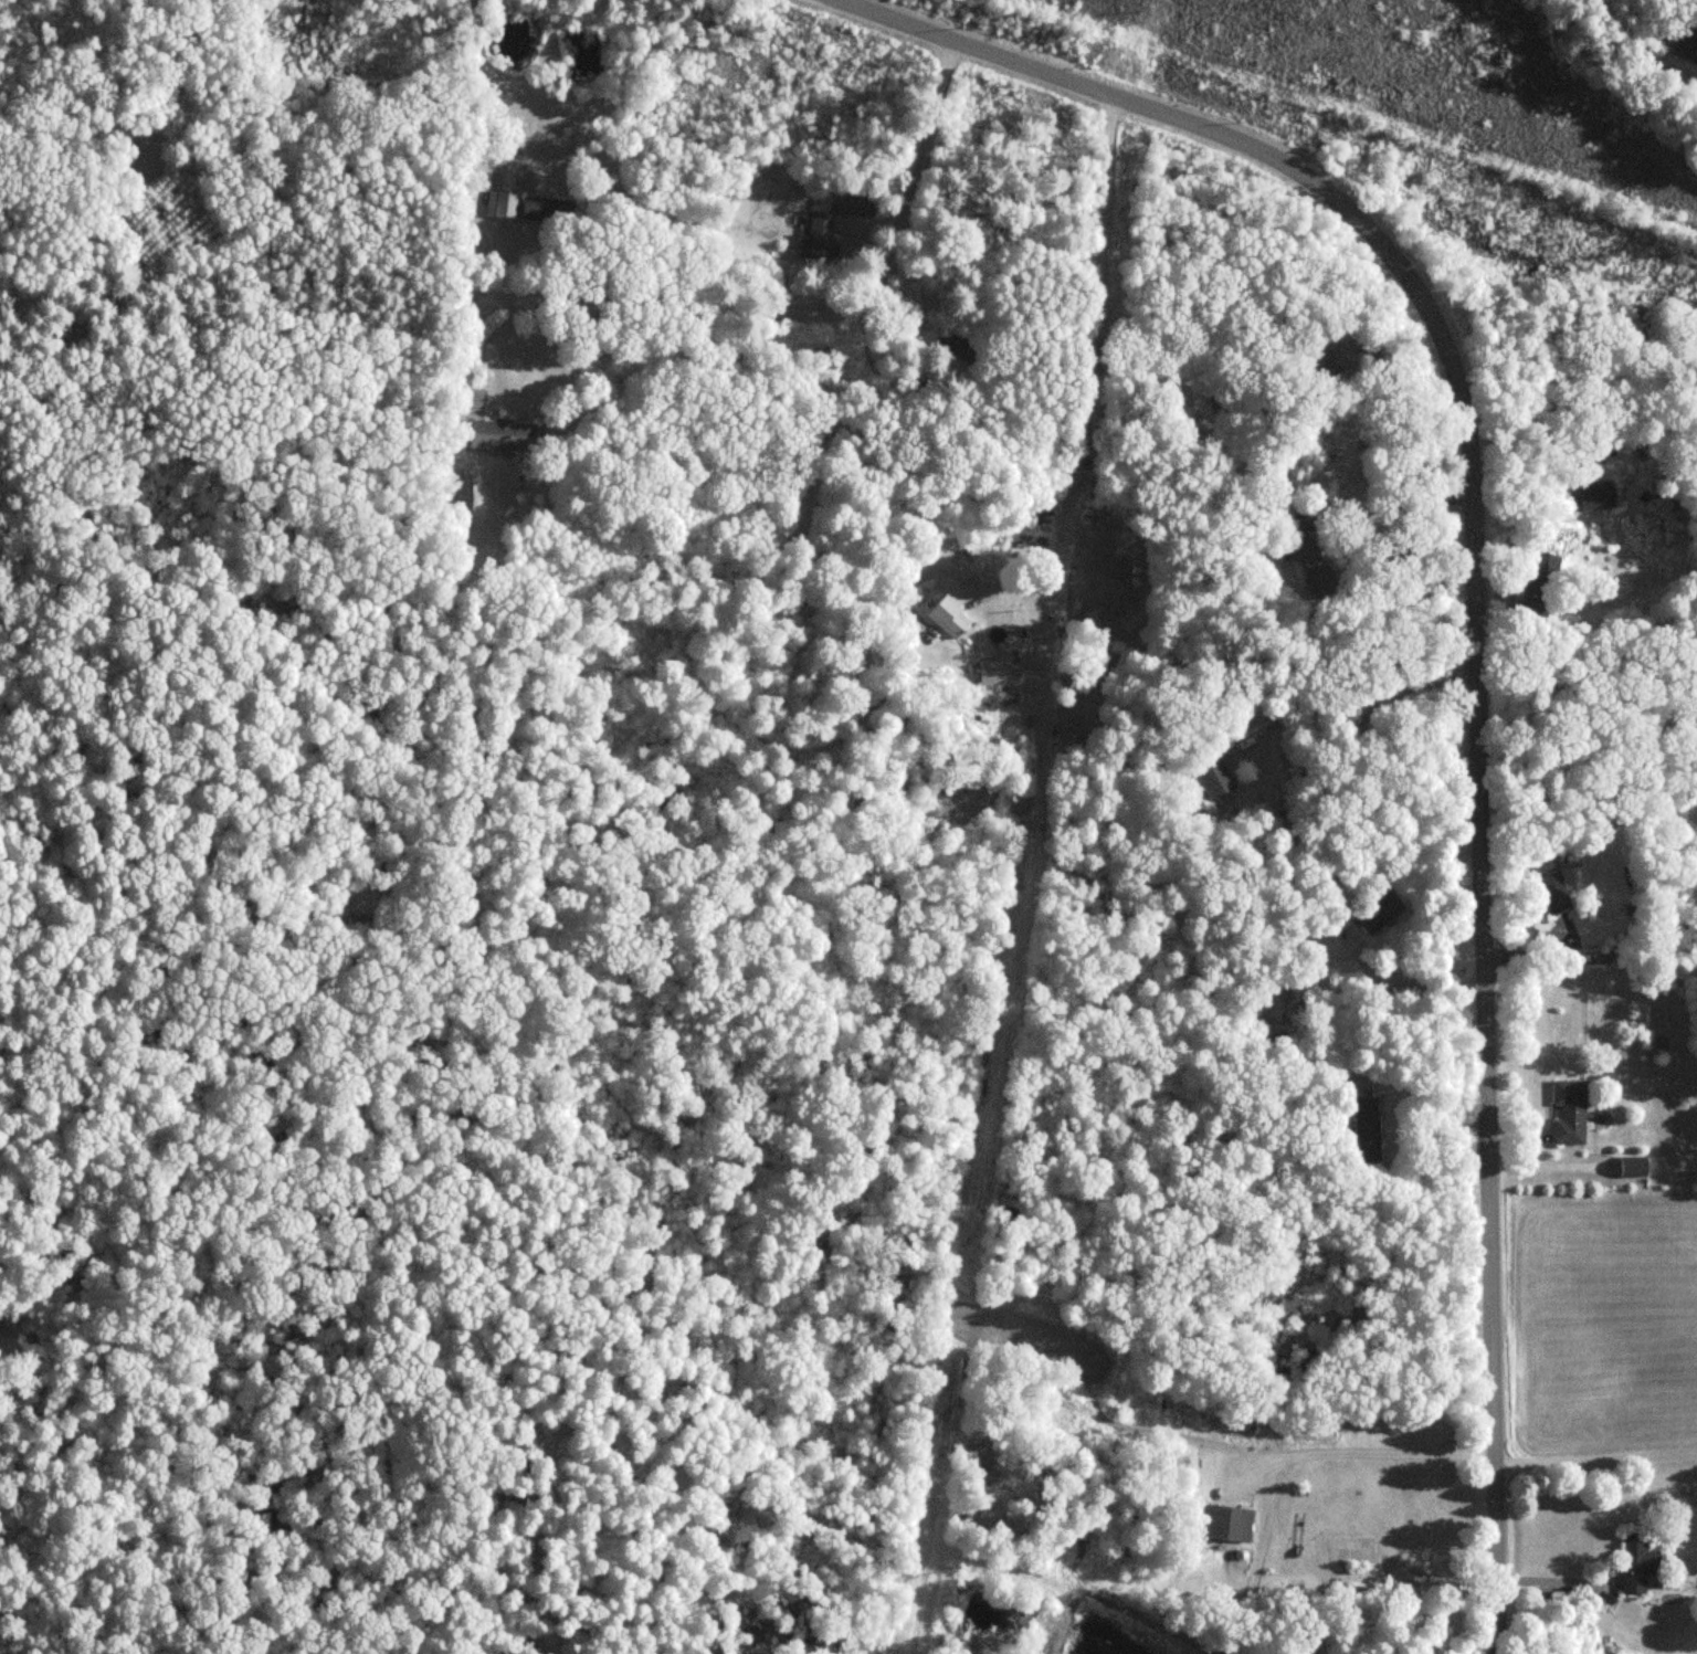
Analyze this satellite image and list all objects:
building: (1686, 44)
building: (503, 206)
building: (531, 209)
building: (832, 223)
building: (500, 434)
building: (1592, 497)
building: (1301, 561)
building: (1113, 592)
building: (949, 617)
road: (1471, 635)
building: (993, 672)
building: (1208, 782)
building: (1553, 892)
building: (1378, 913)
road: (1410, 988)
building: (1568, 1113)
building: (1360, 1120)
building: (1634, 1169)
road: (1592, 1441)
building: (1226, 1523)
building: (1636, 1563)

